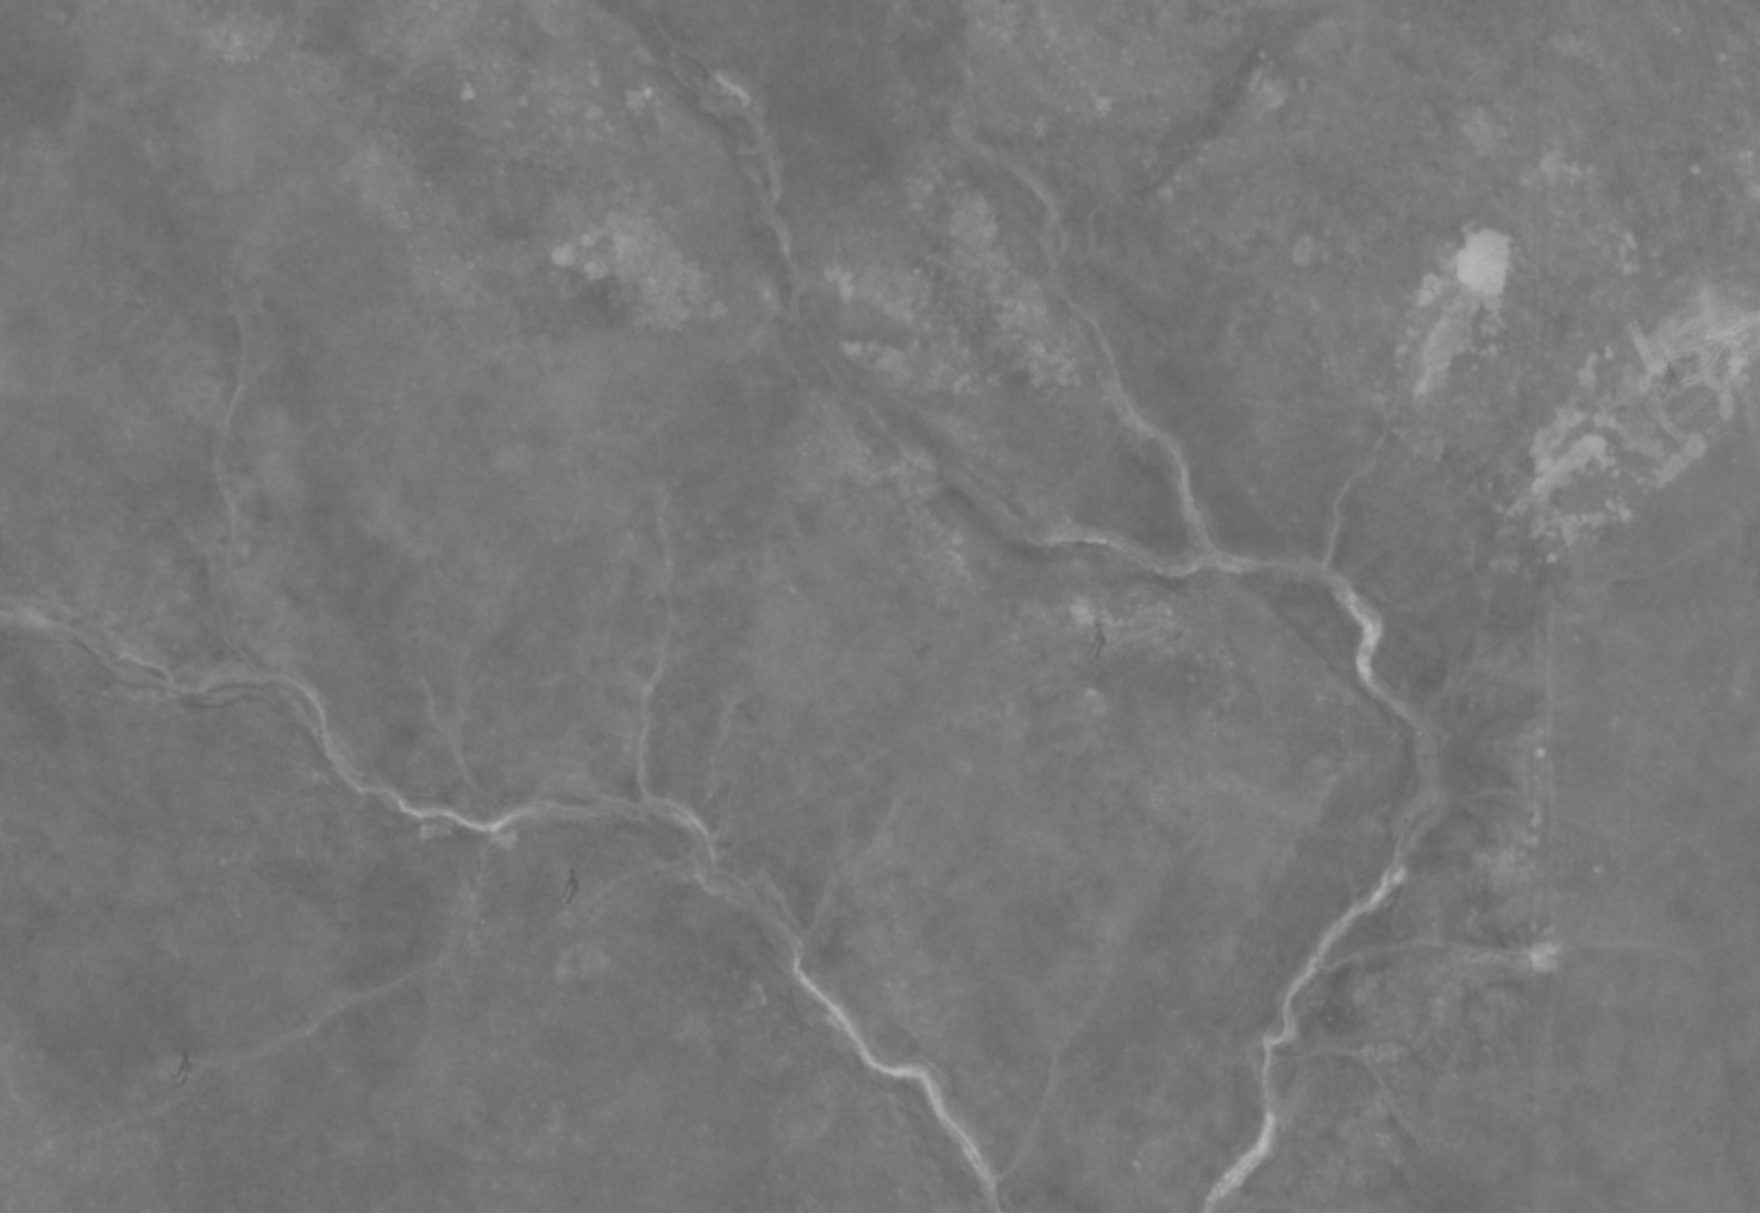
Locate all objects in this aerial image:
power tower: (1658, 390)
power tower: (1090, 655)
power tower: (560, 901)
power tower: (174, 1079)

